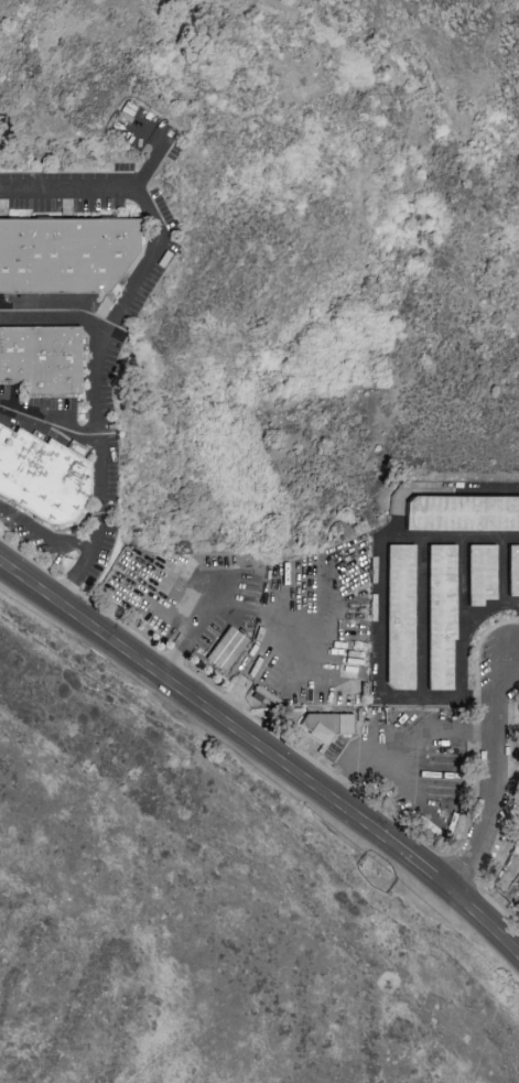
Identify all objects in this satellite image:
road: (158, 153)
building: (66, 251)
road: (55, 311)
road: (107, 323)
building: (43, 356)
road: (50, 423)
building: (44, 475)
road: (436, 489)
building: (461, 512)
road: (43, 530)
road: (457, 535)
building: (511, 570)
building: (476, 573)
road: (186, 587)
road: (501, 589)
road: (510, 602)
road: (459, 615)
building: (396, 616)
road: (421, 616)
building: (436, 616)
building: (226, 649)
road: (516, 650)
road: (315, 665)
road: (381, 665)
building: (332, 726)
road: (435, 729)
road: (264, 749)
road: (356, 773)
road: (506, 776)
road: (491, 779)

